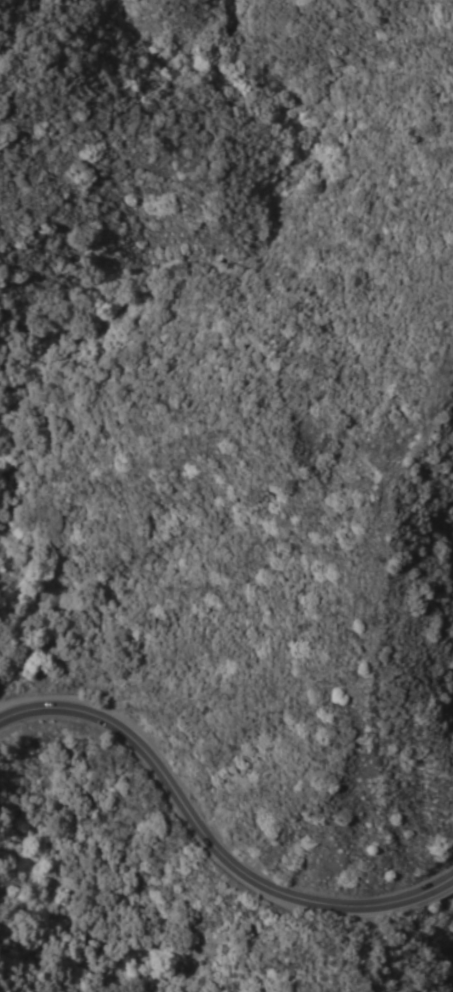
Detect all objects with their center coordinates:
road: (210, 838)

